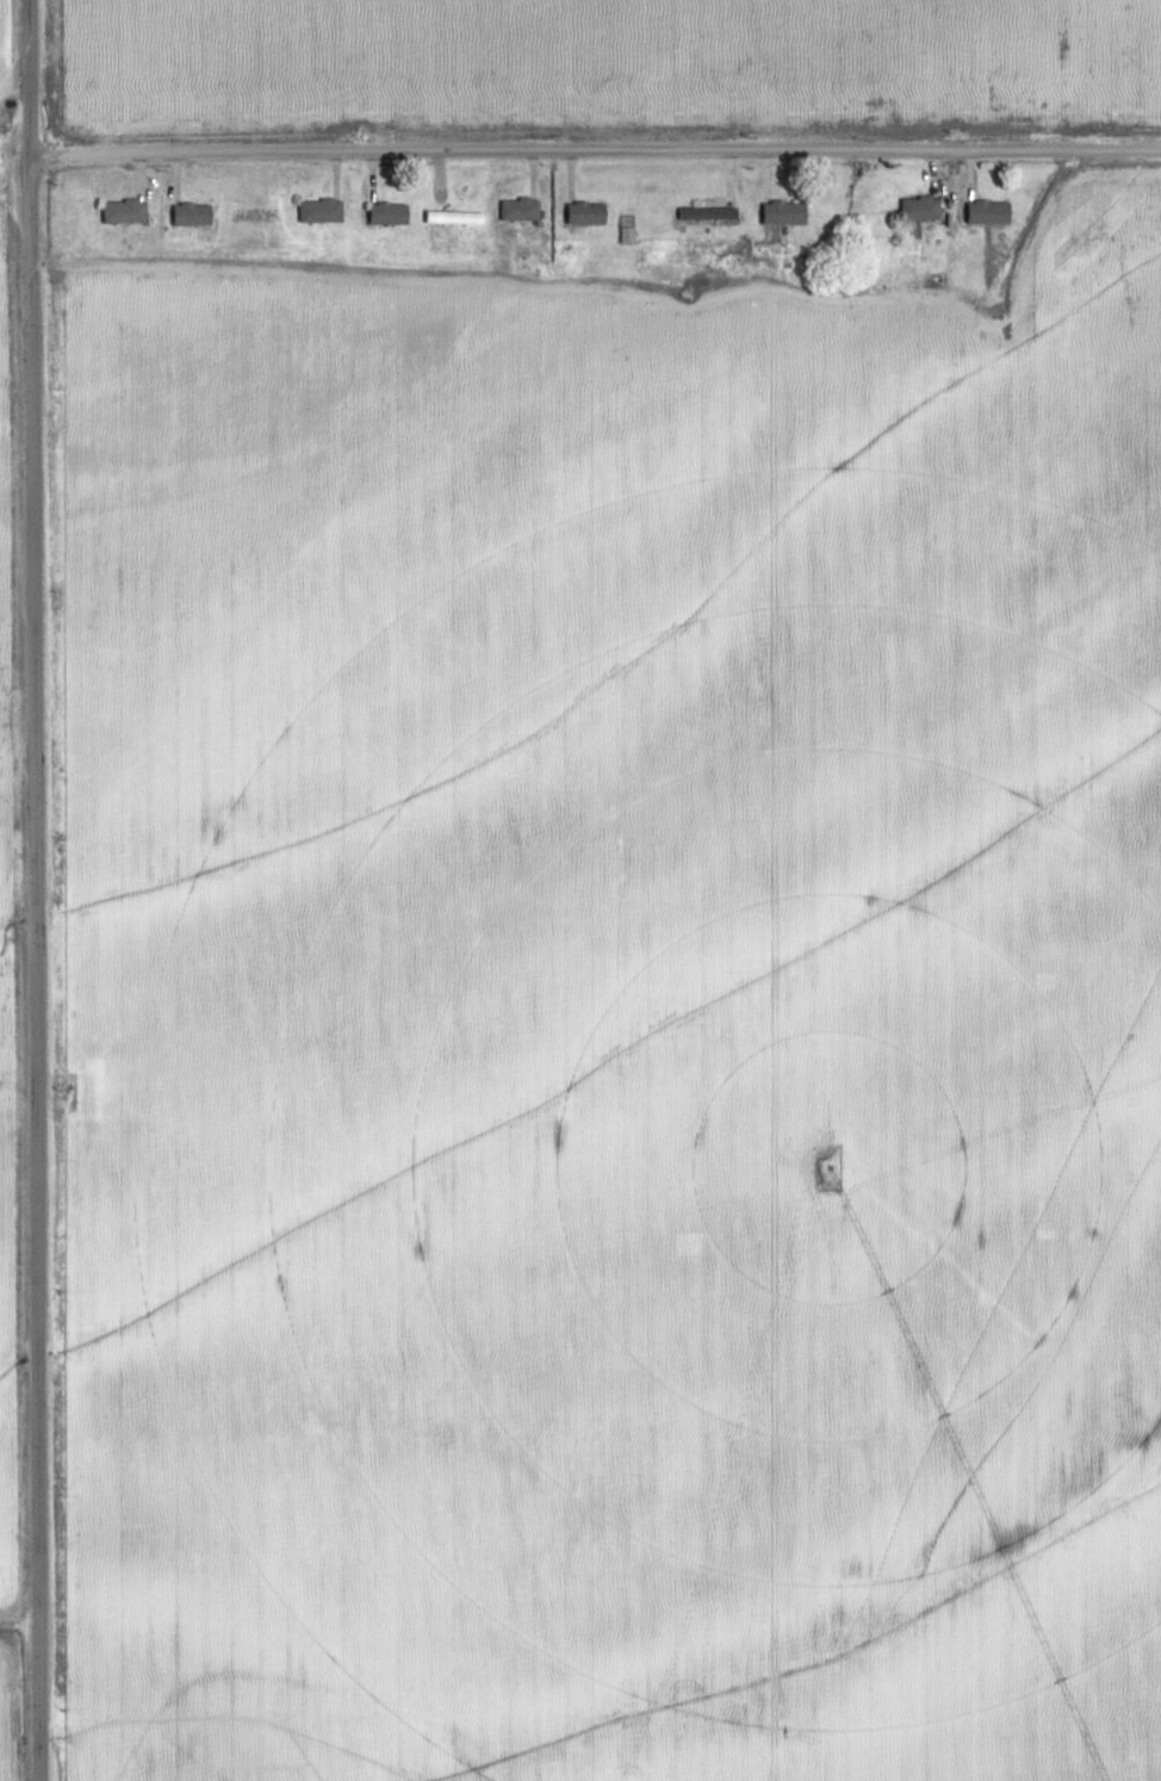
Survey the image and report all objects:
road: (12, 86)
road: (592, 150)
building: (715, 209)
building: (920, 209)
building: (520, 210)
building: (124, 211)
building: (321, 211)
building: (988, 212)
building: (387, 213)
building: (585, 213)
building: (783, 213)
building: (192, 215)
road: (32, 889)

